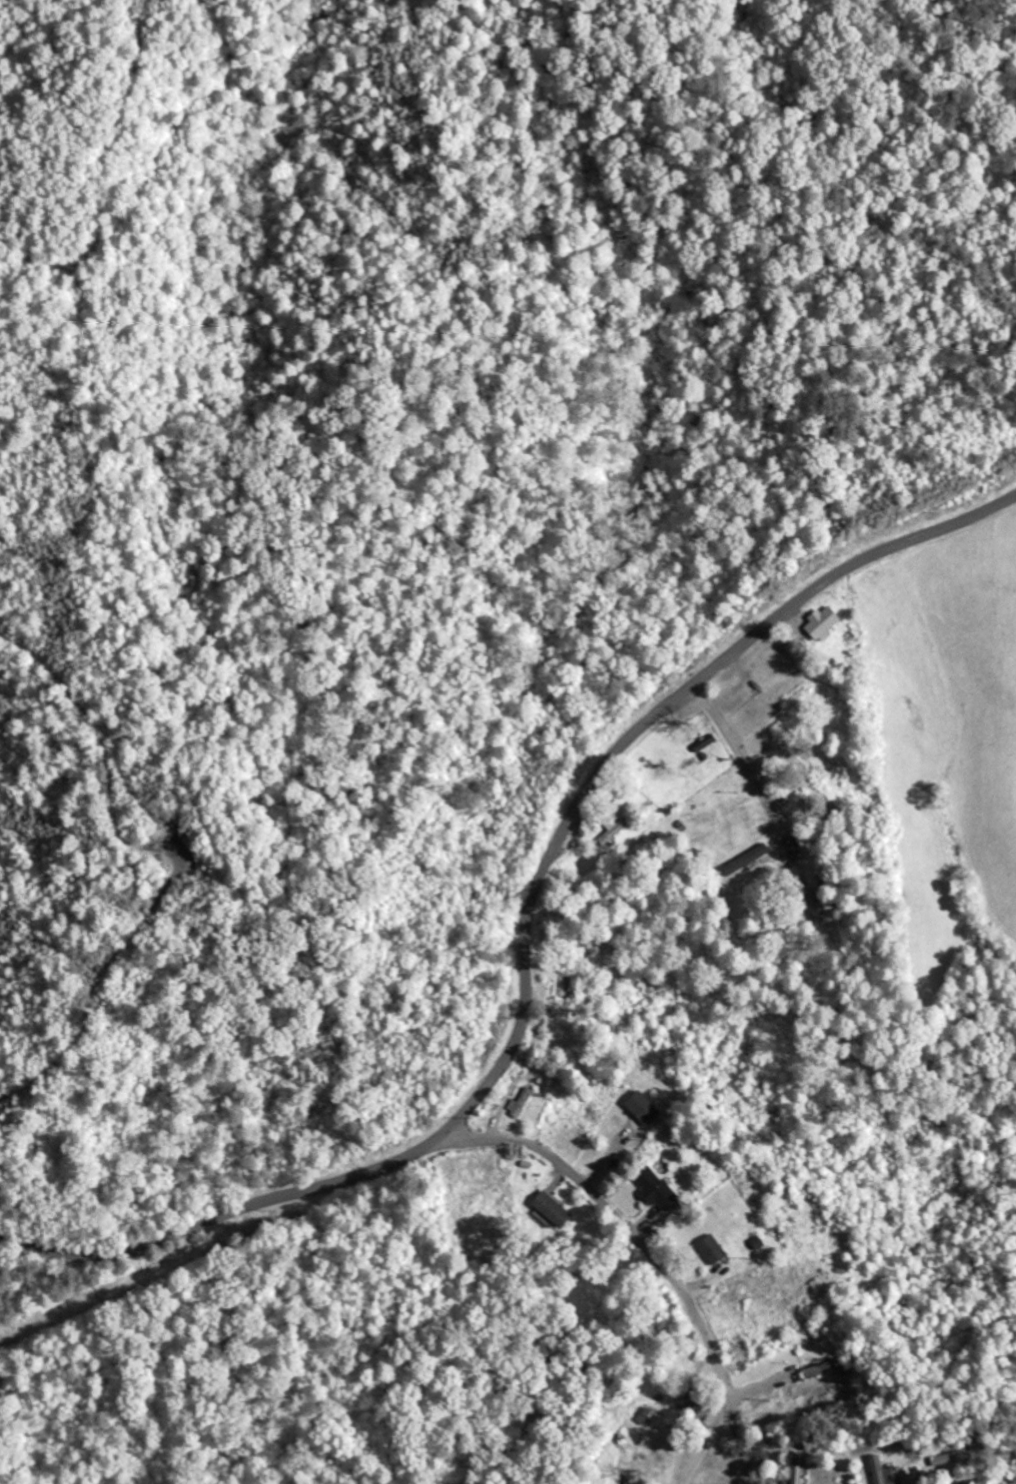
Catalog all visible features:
building: (821, 622)
road: (634, 739)
building: (614, 831)
building: (744, 859)
building: (816, 907)
building: (522, 1104)
building: (641, 1107)
building: (654, 1189)
building: (550, 1209)
road: (224, 1216)
building: (711, 1249)
road: (652, 1254)
building: (820, 1369)
building: (794, 1470)
building: (874, 1470)

